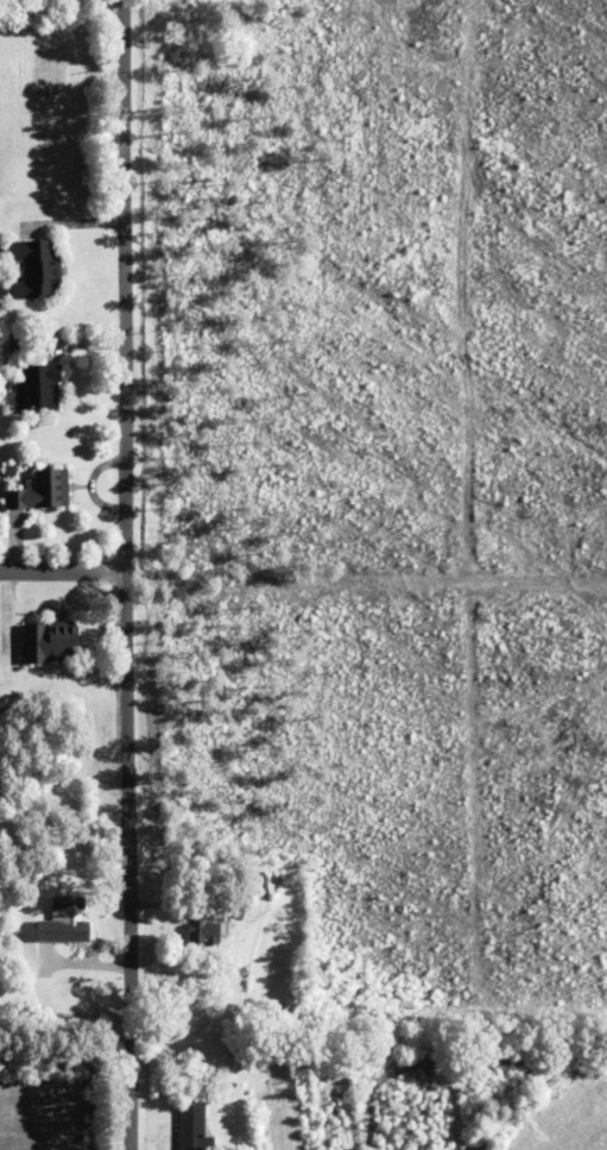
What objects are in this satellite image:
building: (32, 270)
building: (34, 390)
building: (37, 491)
road: (63, 572)
road: (126, 574)
building: (48, 642)
building: (201, 930)
building: (189, 1127)

